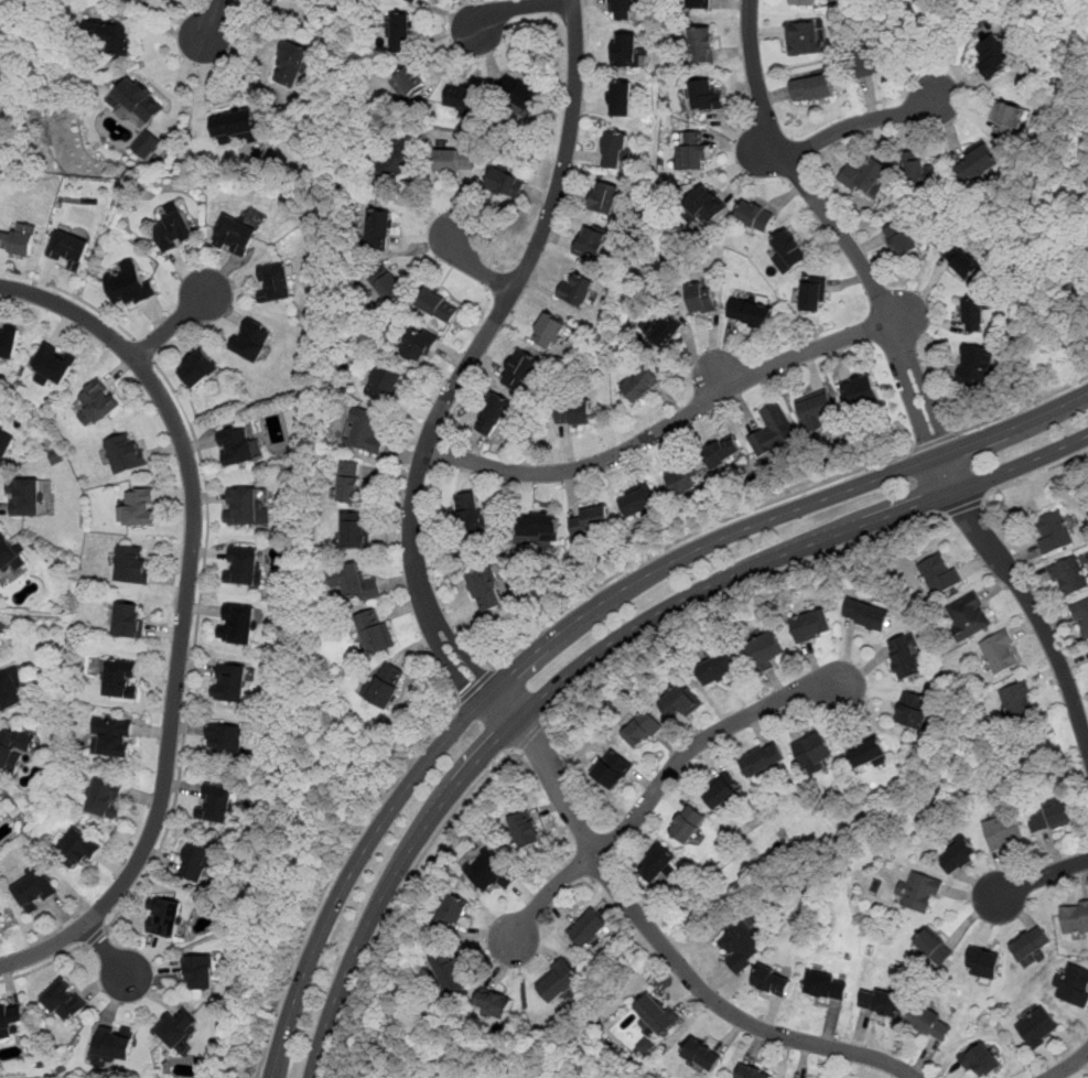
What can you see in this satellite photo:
building: (413, 1)
building: (802, 2)
building: (701, 4)
road: (520, 7)
building: (622, 10)
road: (215, 19)
park: (1079, 26)
building: (400, 34)
building: (111, 35)
building: (804, 37)
building: (703, 45)
building: (624, 50)
building: (870, 58)
building: (994, 58)
building: (292, 63)
building: (410, 82)
building: (812, 89)
building: (525, 96)
building: (703, 96)
building: (620, 98)
building: (464, 99)
building: (138, 100)
building: (1006, 120)
road: (862, 121)
building: (235, 128)
building: (147, 143)
building: (614, 149)
building: (693, 152)
building: (401, 159)
building: (454, 161)
building: (976, 162)
building: (917, 173)
building: (865, 176)
building: (505, 183)
building: (605, 197)
building: (705, 205)
building: (756, 216)
building: (174, 227)
building: (378, 229)
building: (236, 235)
building: (900, 239)
building: (20, 240)
building: (590, 242)
road: (848, 244)
building: (69, 248)
building: (787, 249)
building: (959, 260)
road: (474, 269)
building: (274, 282)
building: (130, 283)
building: (388, 285)
building: (577, 289)
road: (71, 294)
building: (812, 295)
building: (701, 298)
building: (438, 305)
building: (750, 313)
building: (973, 316)
road: (174, 322)
building: (549, 333)
building: (666, 333)
building: (252, 341)
building: (9, 342)
building: (417, 345)
road: (144, 348)
road: (472, 355)
building: (53, 363)
building: (976, 365)
building: (198, 368)
building: (520, 370)
building: (639, 384)
building: (384, 385)
building: (861, 392)
building: (98, 402)
road: (1022, 406)
building: (816, 410)
building: (573, 413)
building: (493, 416)
road: (664, 428)
building: (367, 431)
building: (773, 431)
road: (931, 441)
building: (6, 445)
building: (237, 445)
building: (127, 454)
building: (723, 454)
road: (1034, 475)
building: (683, 477)
building: (349, 482)
building: (25, 497)
building: (636, 503)
building: (241, 506)
road: (963, 506)
building: (138, 508)
building: (472, 514)
building: (589, 522)
building: (542, 526)
building: (1054, 531)
building: (355, 532)
road: (688, 535)
building: (8, 556)
building: (132, 565)
building: (245, 565)
building: (939, 574)
building: (1068, 574)
building: (354, 584)
building: (484, 592)
road: (731, 592)
building: (970, 612)
road: (1034, 613)
building: (1081, 615)
road: (184, 616)
building: (866, 616)
building: (128, 621)
building: (238, 624)
road: (580, 624)
building: (810, 626)
building: (371, 634)
road: (603, 648)
road: (193, 649)
building: (764, 650)
building: (999, 650)
building: (904, 659)
building: (719, 670)
building: (120, 679)
building: (230, 682)
road: (475, 684)
building: (384, 686)
building: (10, 691)
building: (1016, 699)
building: (678, 703)
building: (913, 710)
building: (639, 731)
road: (528, 734)
building: (112, 739)
road: (703, 739)
building: (224, 741)
building: (12, 750)
building: (812, 751)
building: (866, 753)
building: (763, 761)
building: (612, 770)
building: (720, 791)
building: (107, 799)
building: (216, 805)
building: (1051, 817)
building: (687, 826)
building: (527, 829)
building: (1003, 830)
building: (77, 850)
building: (958, 855)
building: (196, 862)
building: (655, 864)
building: (488, 872)
road: (330, 875)
road: (1042, 877)
building: (34, 890)
building: (918, 894)
road: (397, 895)
road: (543, 898)
building: (452, 915)
building: (164, 916)
building: (1075, 917)
building: (1, 924)
building: (586, 929)
road: (96, 936)
road: (659, 940)
building: (1031, 945)
building: (934, 946)
building: (741, 948)
road: (107, 951)
road: (43, 963)
building: (984, 963)
building: (200, 973)
building: (449, 973)
building: (558, 980)
building: (773, 981)
building: (826, 984)
building: (1074, 985)
building: (881, 1001)
building: (65, 1002)
building: (495, 1005)
building: (657, 1014)
building: (10, 1017)
building: (930, 1022)
building: (176, 1026)
building: (1038, 1027)
building: (116, 1045)
building: (702, 1055)
building: (981, 1059)
road: (1068, 1065)
building: (752, 1072)

